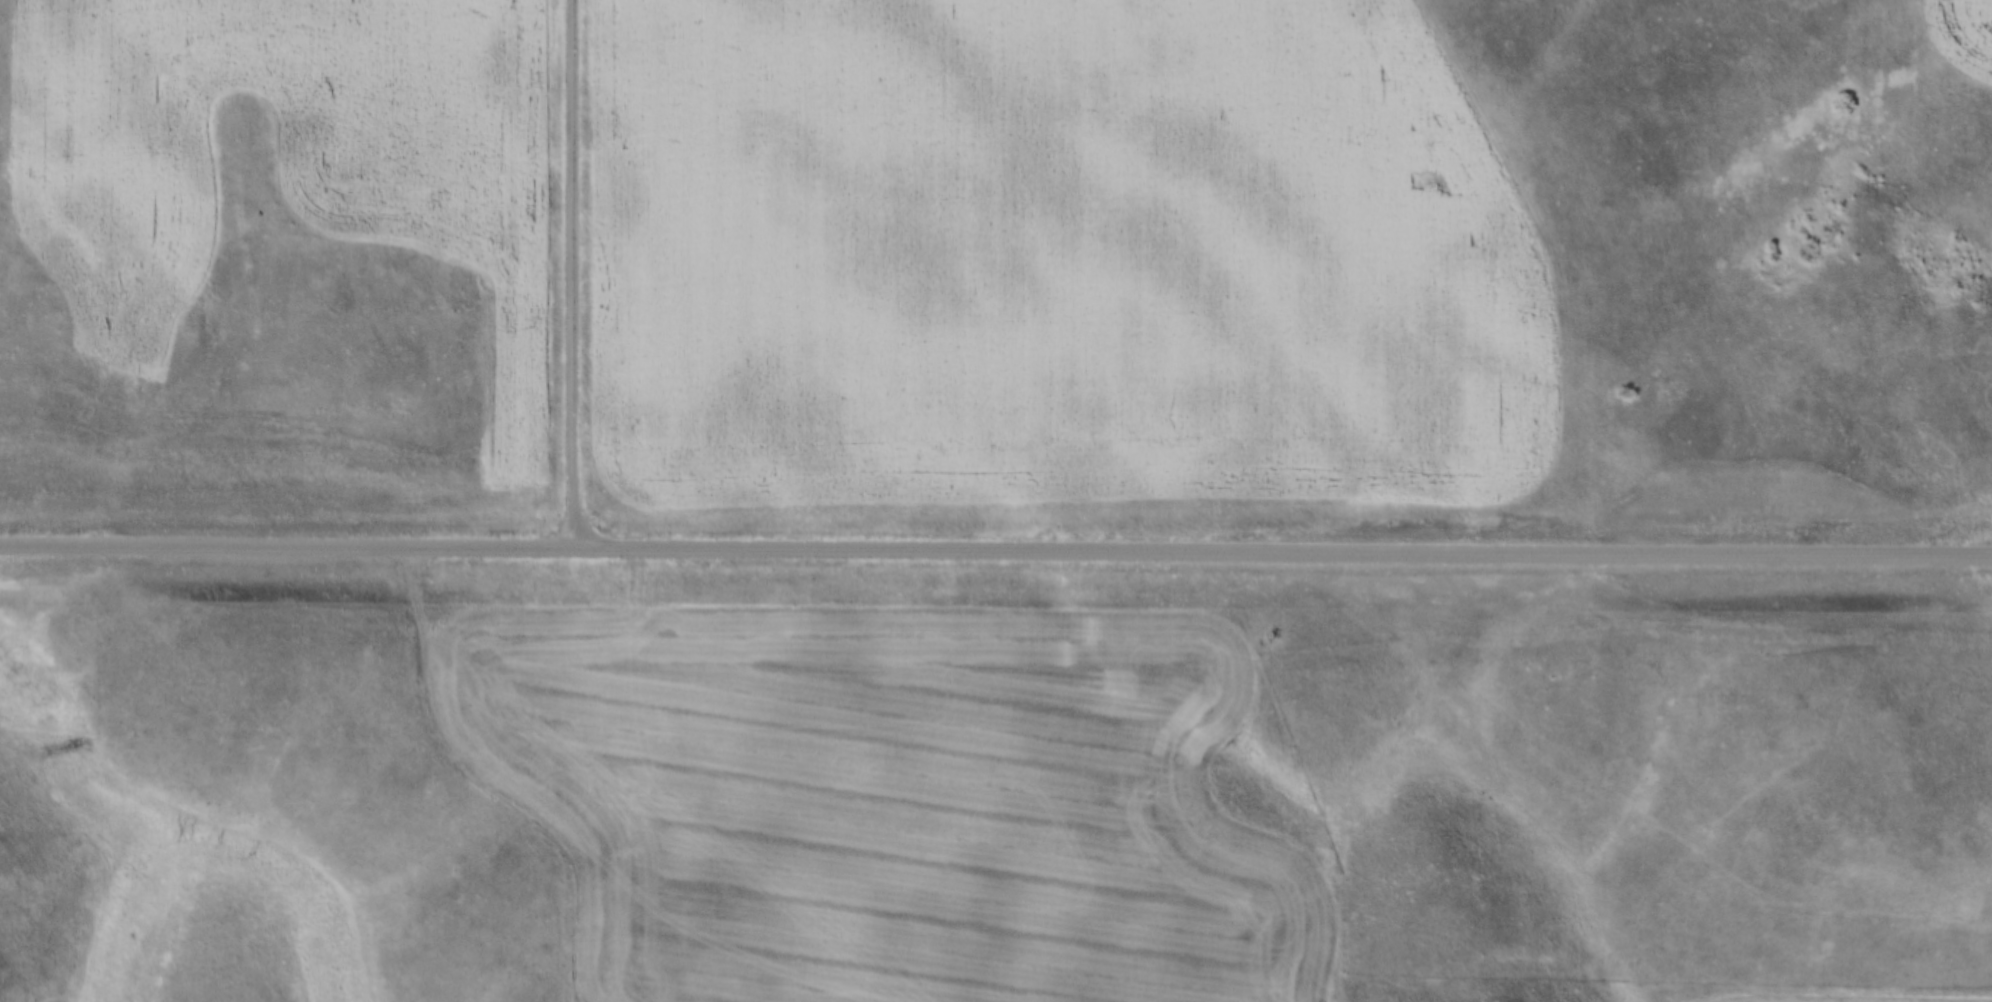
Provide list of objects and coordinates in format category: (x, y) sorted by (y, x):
road: (574, 275)
road: (1935, 523)
road: (996, 548)
road: (489, 784)

